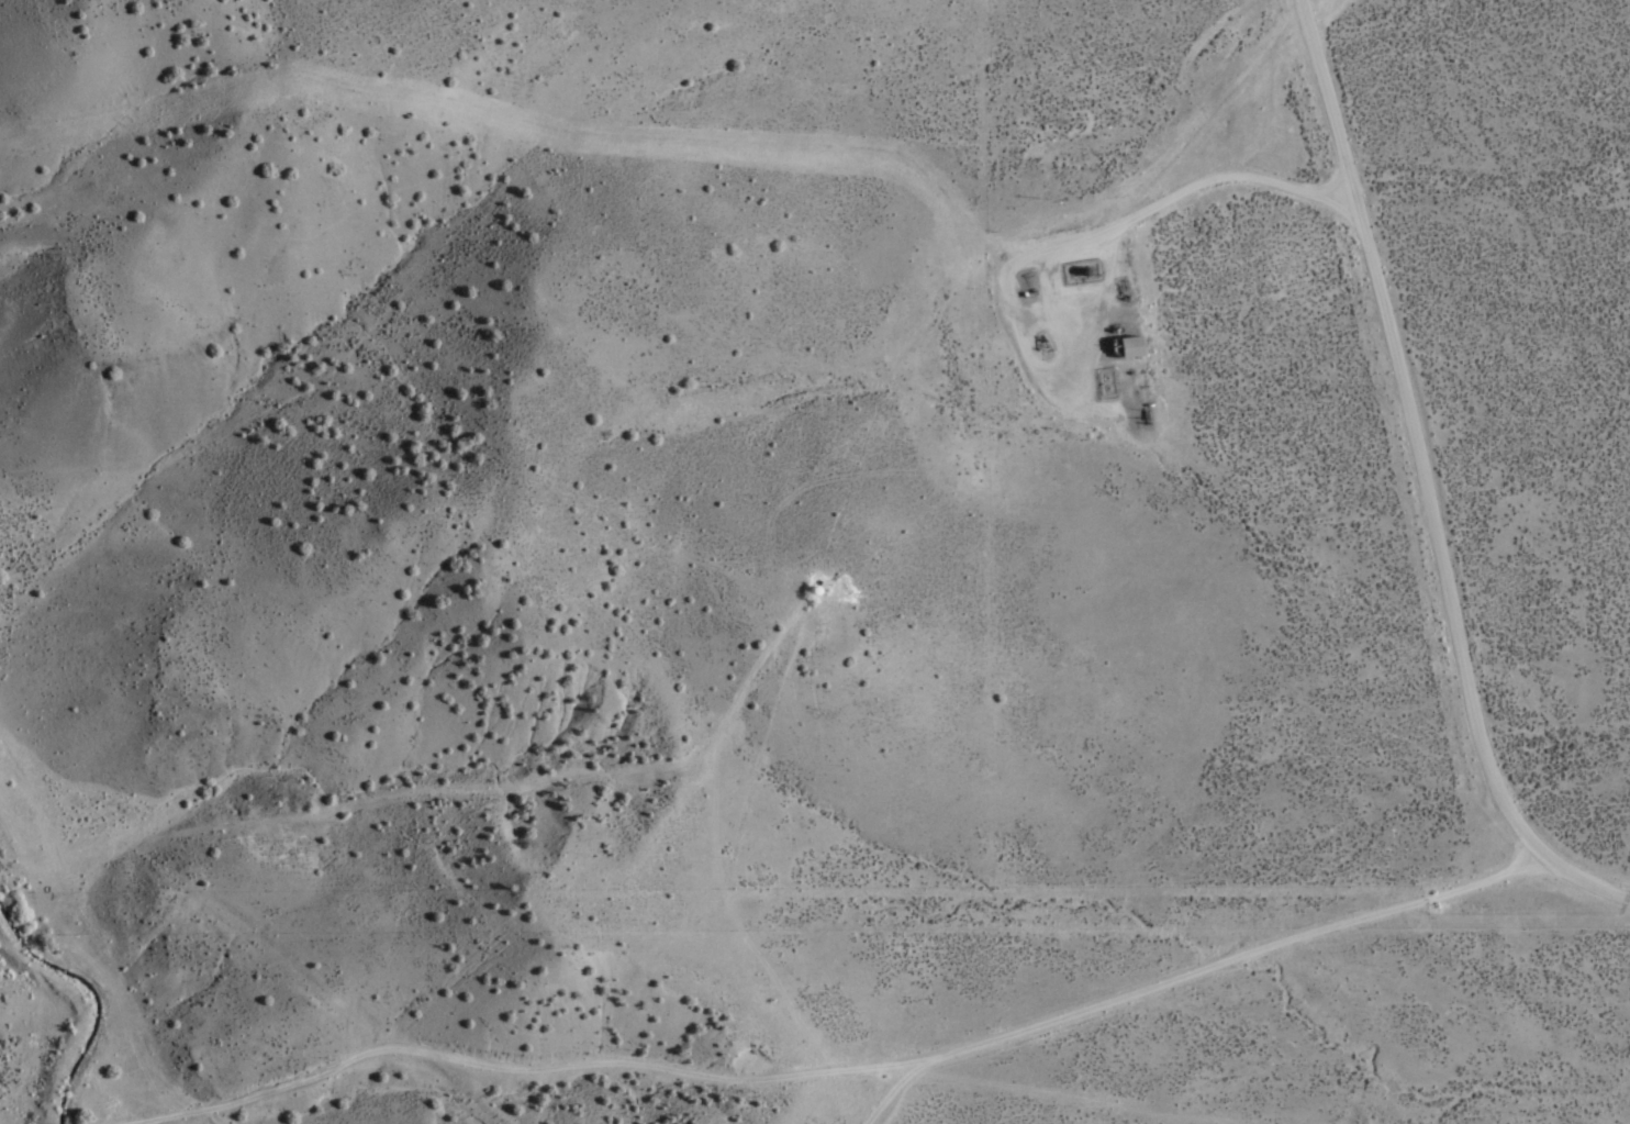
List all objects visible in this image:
road: (1329, 14)
building: (1137, 347)
road: (1427, 482)

